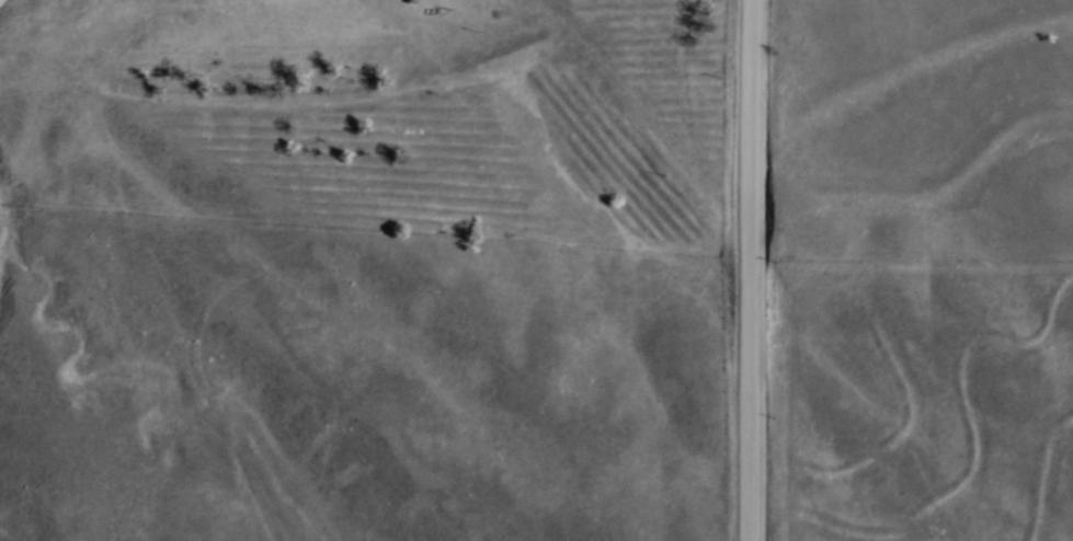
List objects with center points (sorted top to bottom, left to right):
road: (751, 269)

